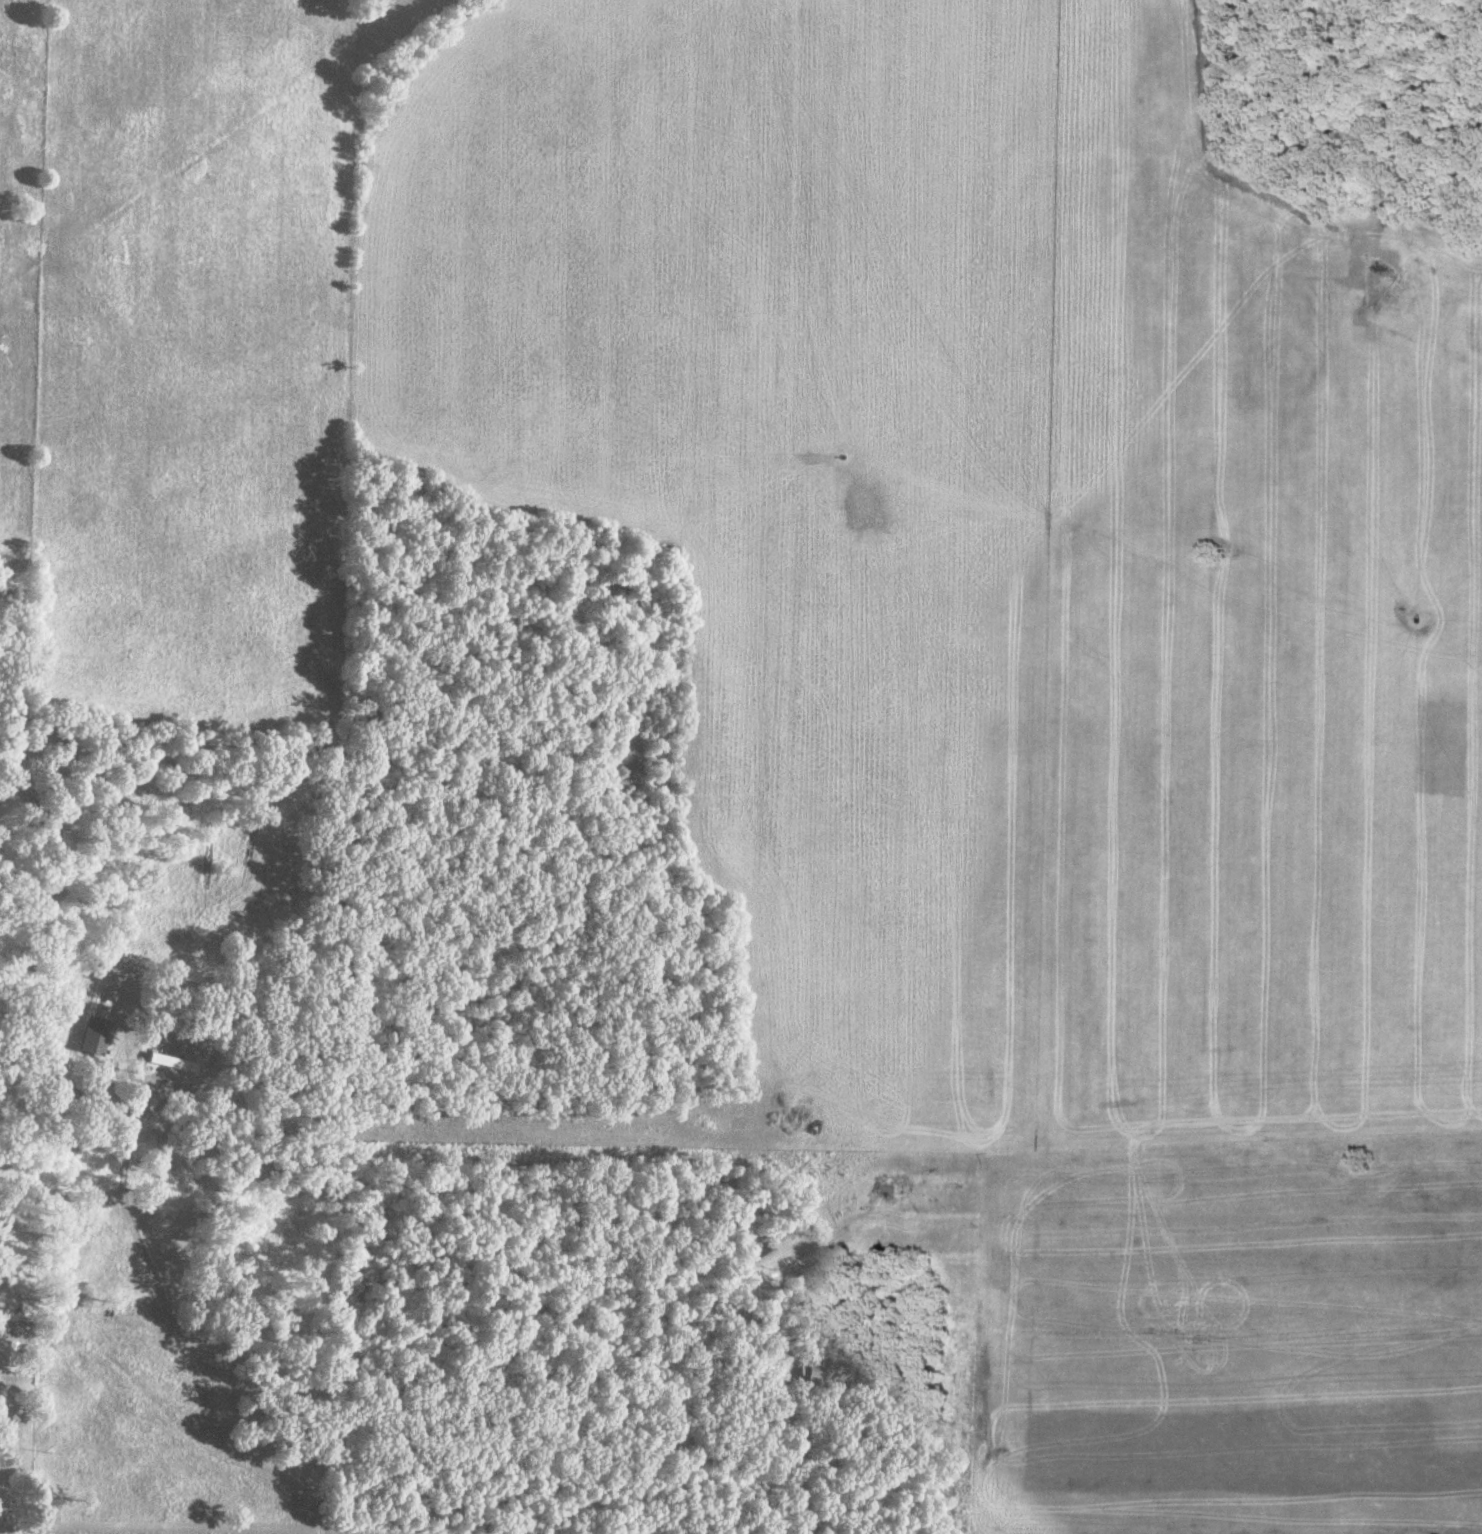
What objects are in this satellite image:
building: (99, 1007)
building: (9, 1357)
road: (183, 1360)

